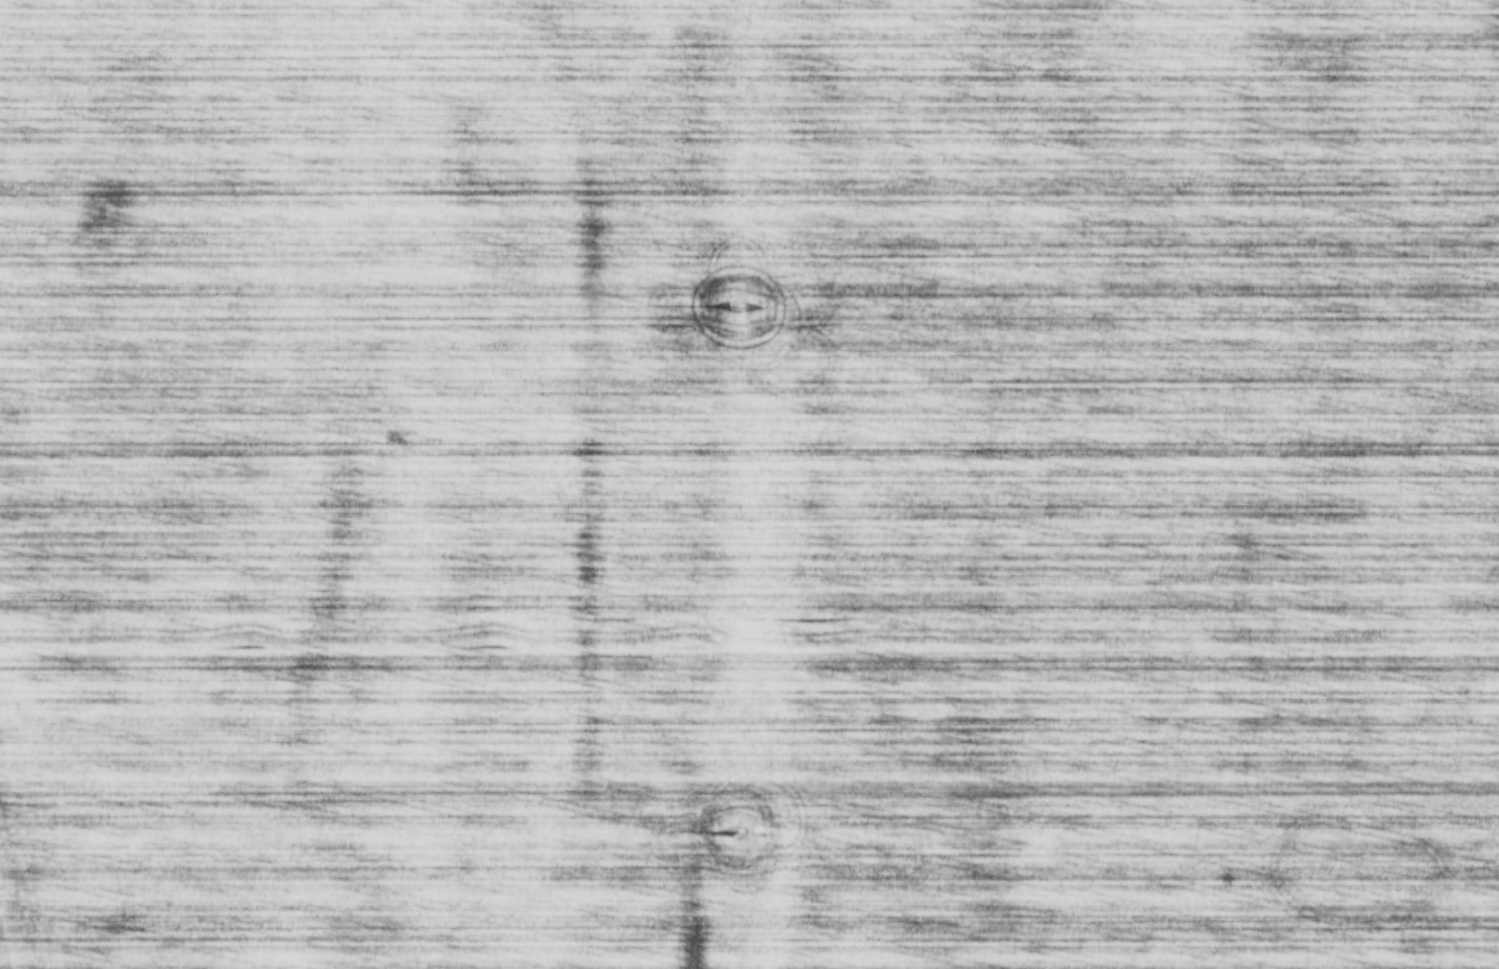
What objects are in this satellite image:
power tower: (730, 304)
power tower: (730, 832)

